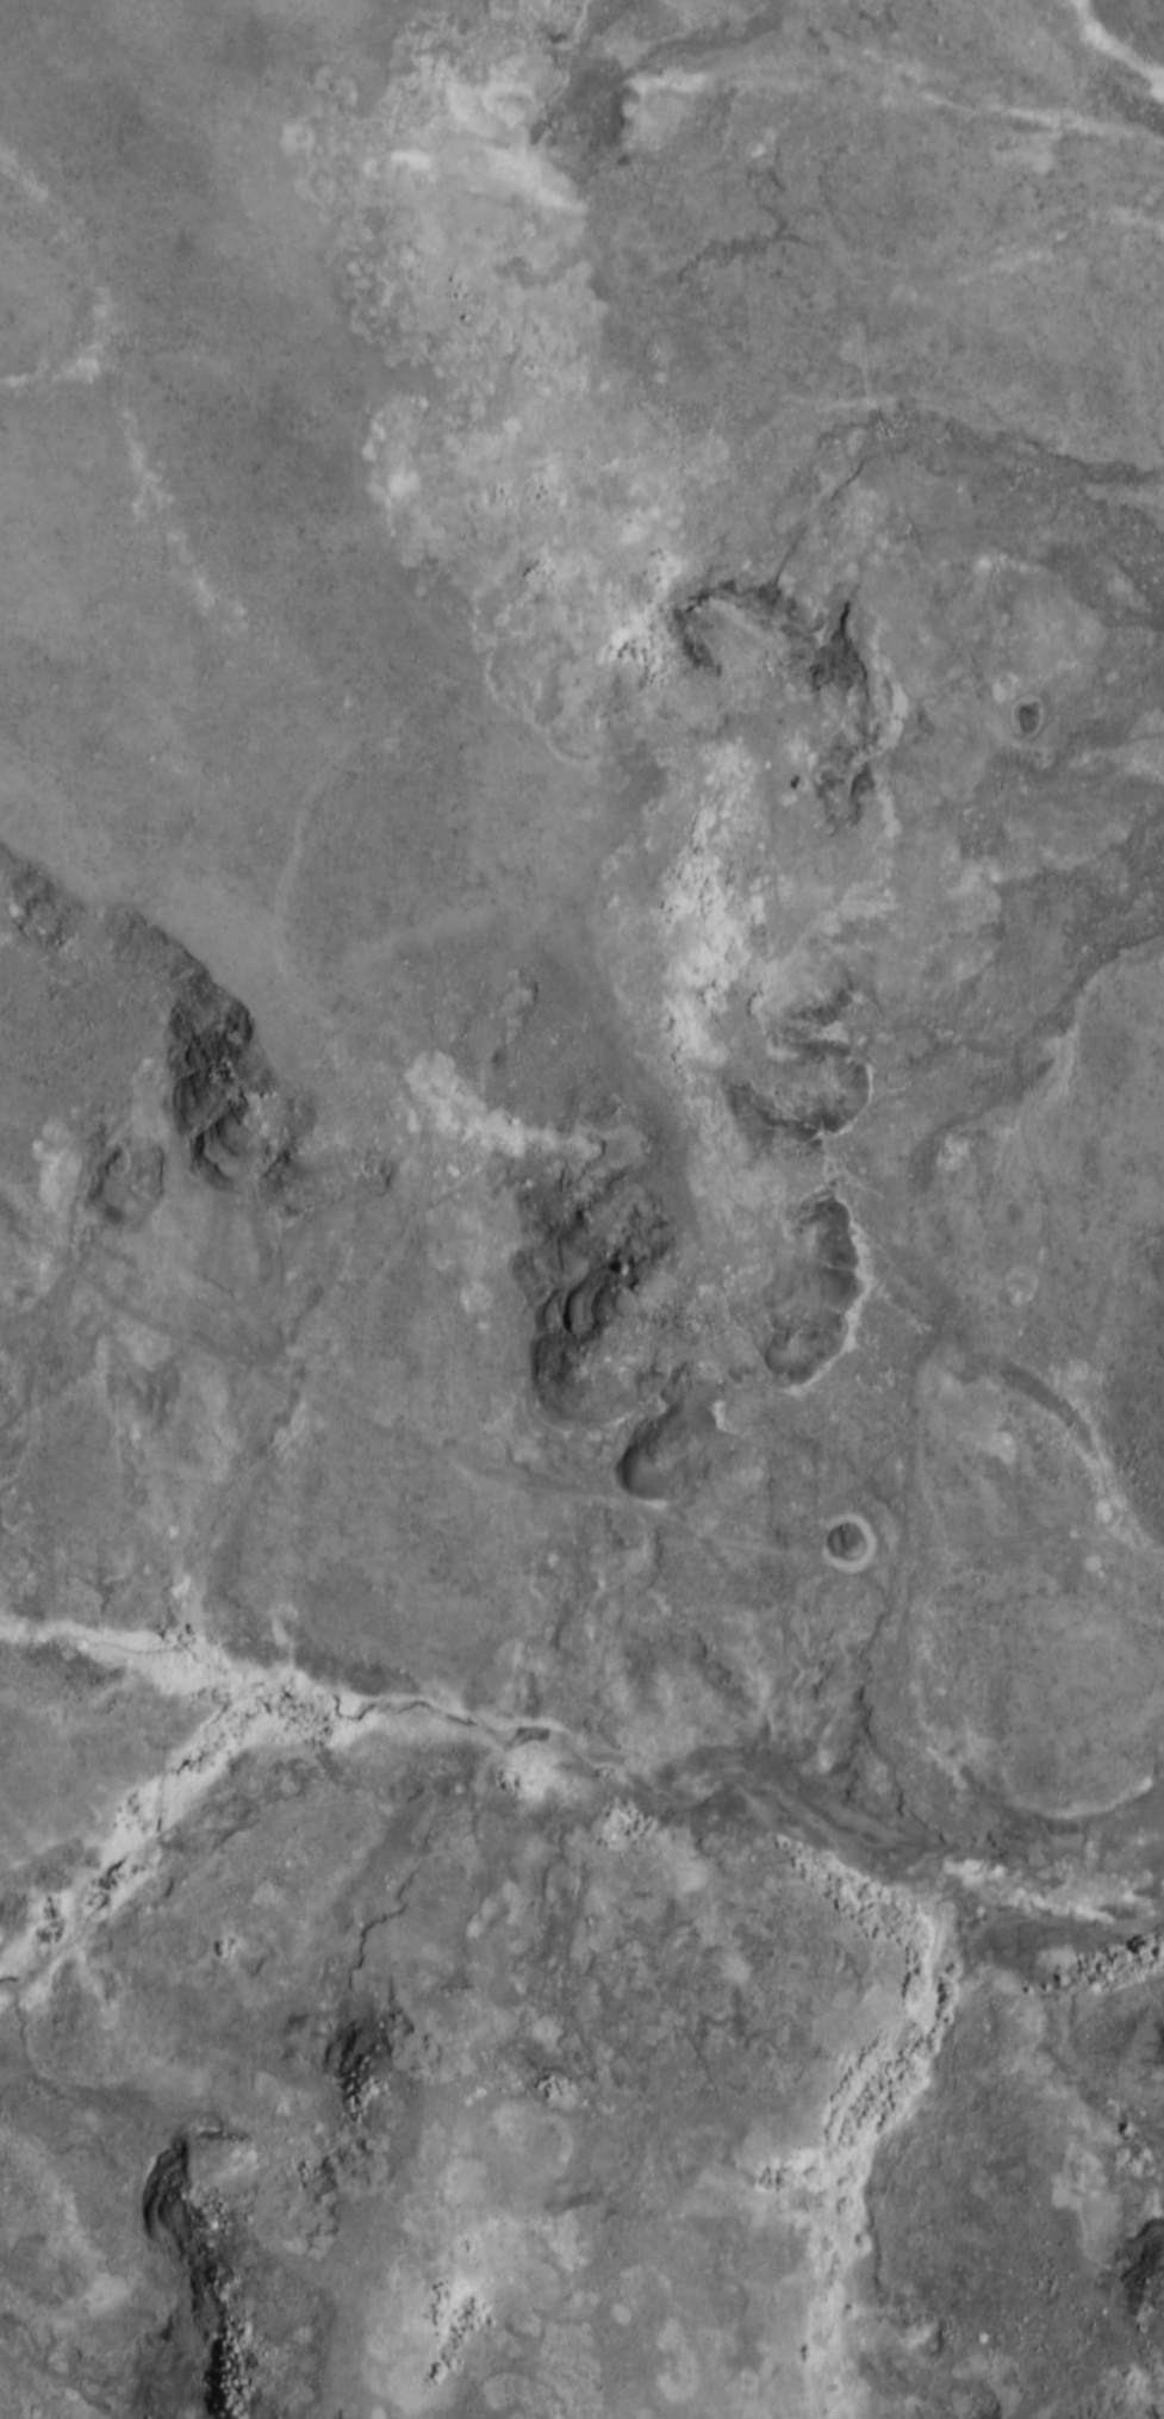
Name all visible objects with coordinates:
road: (558, 1488)
road: (1162, 1543)

